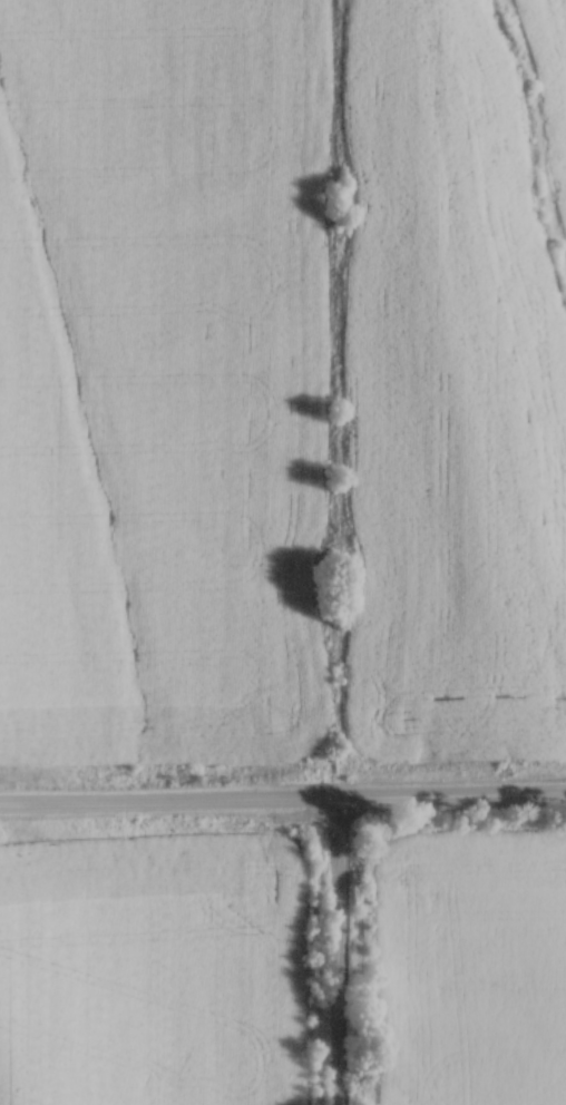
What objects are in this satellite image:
road: (283, 800)
road: (340, 952)

